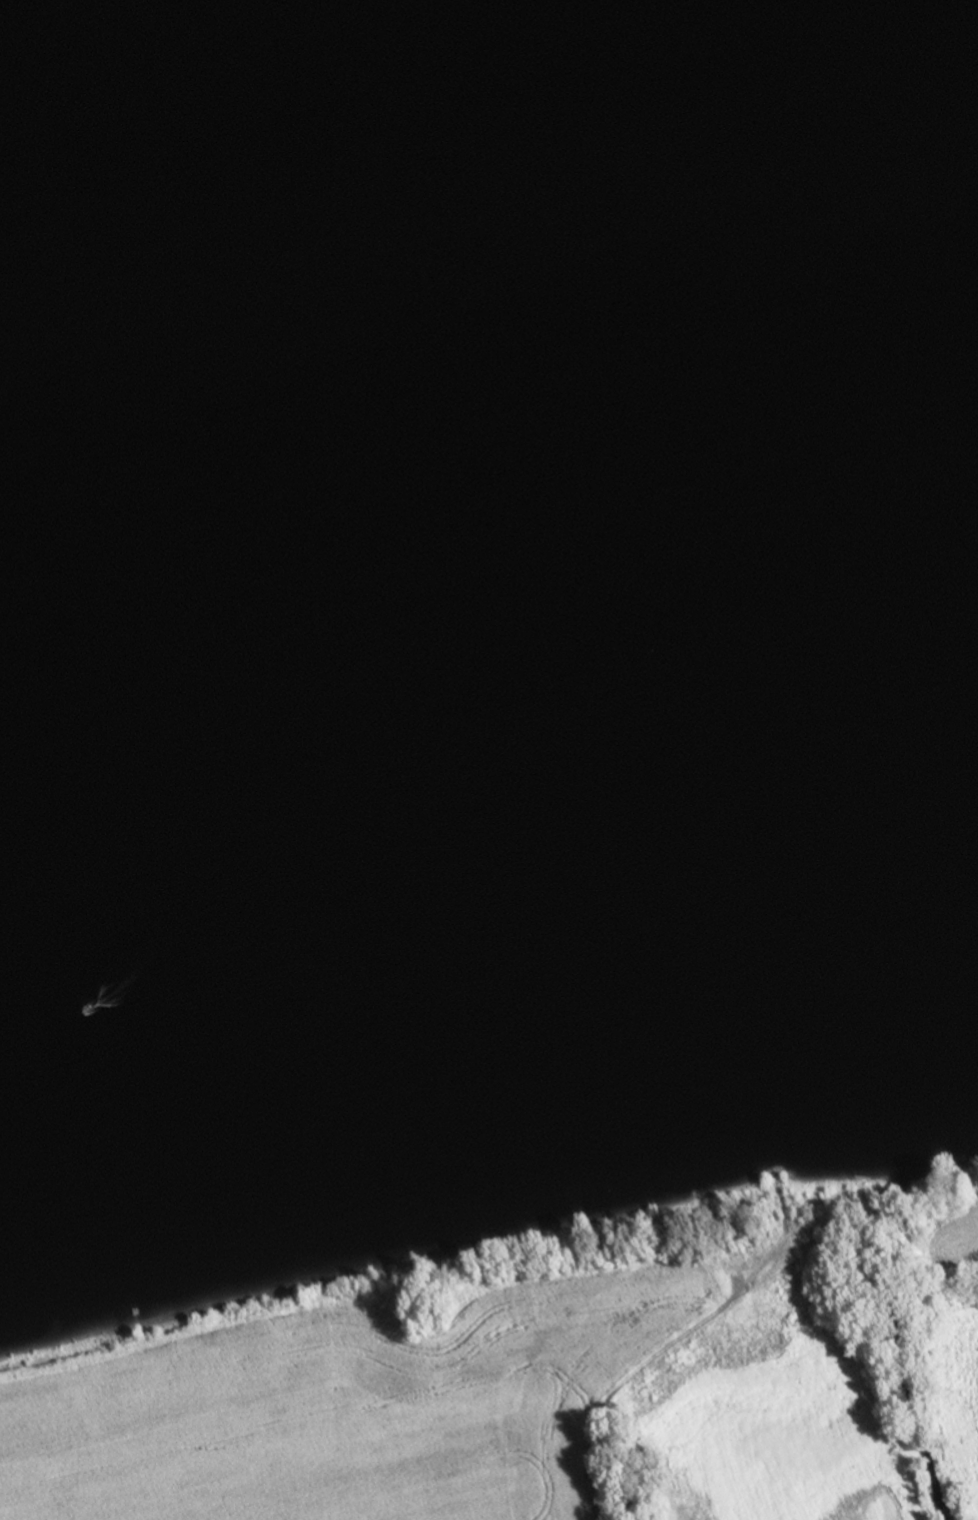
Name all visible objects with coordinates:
river: (488, 522)

